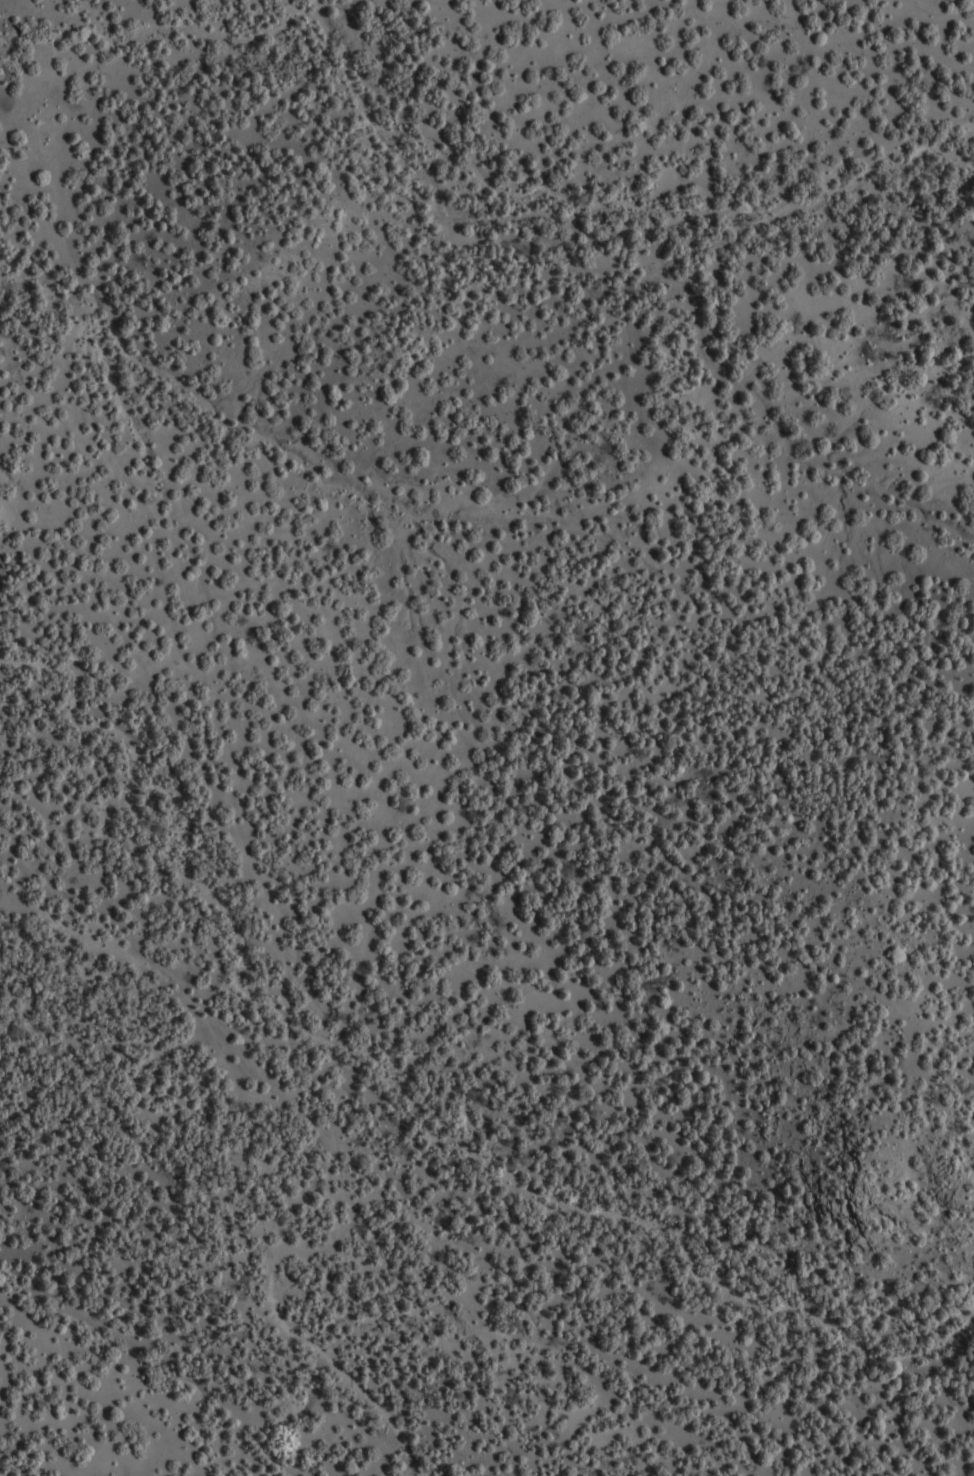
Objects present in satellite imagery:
road: (657, 47)

